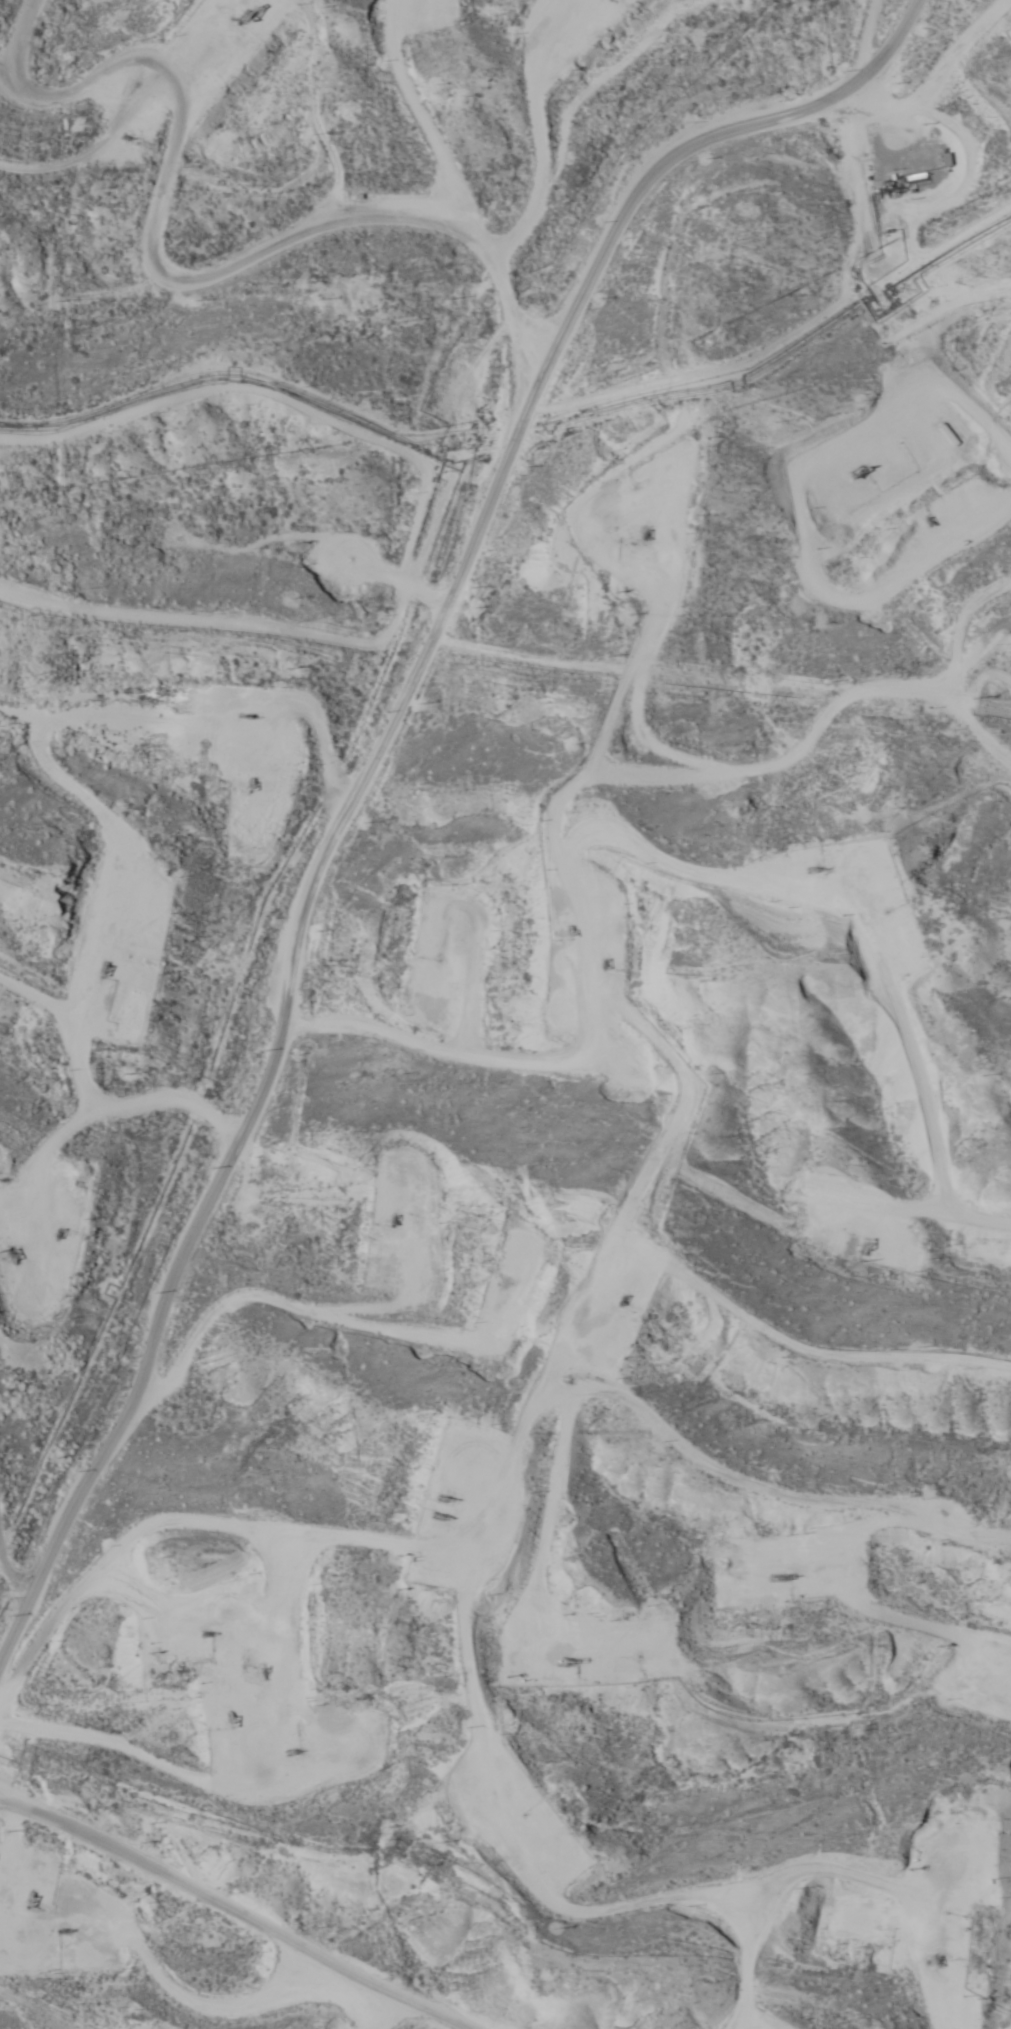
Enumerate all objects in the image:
road: (918, 66)
road: (89, 100)
road: (510, 203)
road: (188, 269)
petroleum well: (645, 534)
road: (659, 691)
road: (364, 692)
petroleum well: (251, 717)
road: (970, 723)
road: (379, 765)
road: (160, 951)
road: (395, 1004)
petroleum well: (396, 1220)
petroleum well: (58, 1236)
petroleum well: (11, 1255)
road: (330, 1290)
petroleum well: (625, 1301)
road: (698, 1420)
road: (25, 1497)
petroleum well: (442, 1500)
petroleum well: (441, 1513)
petroleum well: (207, 1636)
petroleum well: (569, 1662)
petroleum well: (265, 1666)
road: (507, 1673)
petroleum well: (233, 1718)
petroleum well: (295, 1750)
petroleum well: (31, 1898)
road: (232, 1919)
petroleum well: (66, 1930)

